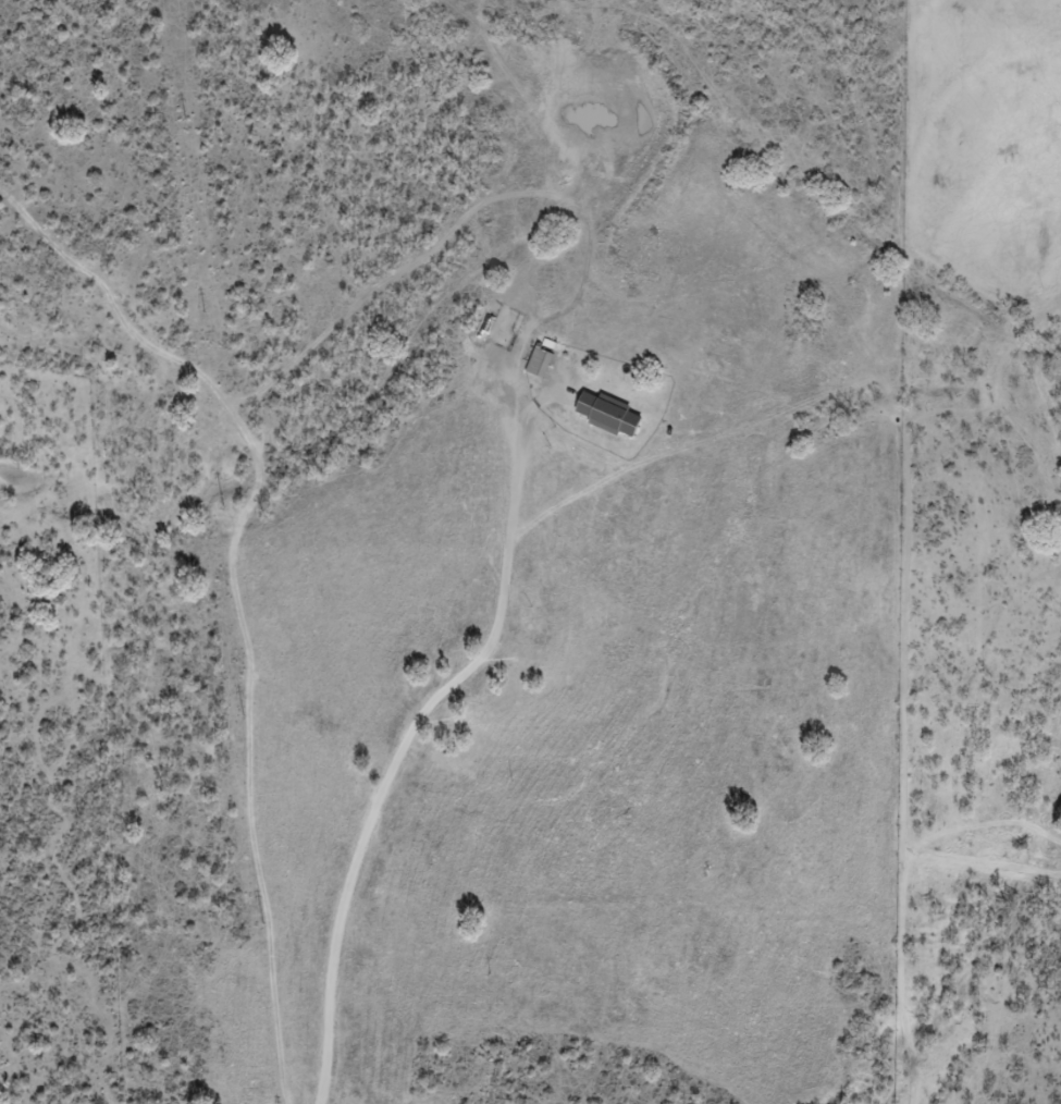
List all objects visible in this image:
building: (540, 364)
building: (615, 401)

